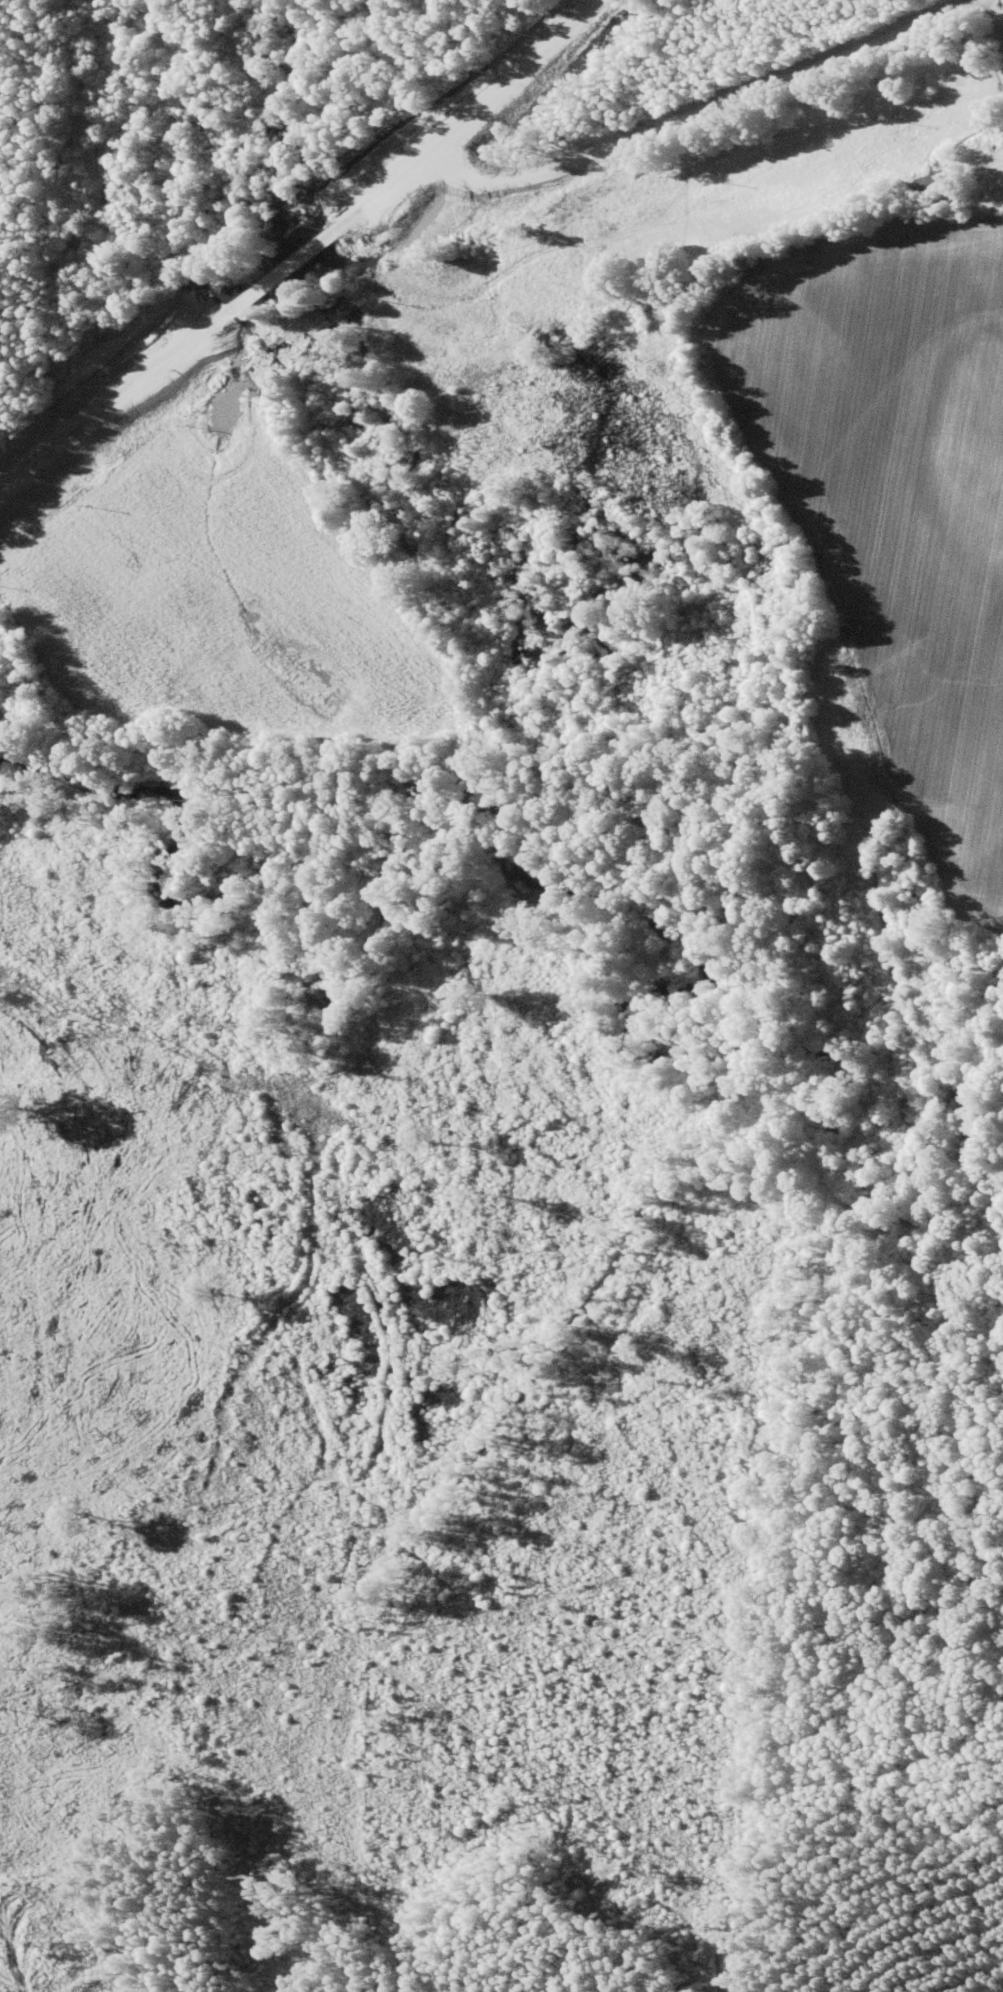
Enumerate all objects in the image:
road: (661, 125)
building: (934, 180)
road: (940, 187)
road: (300, 257)

